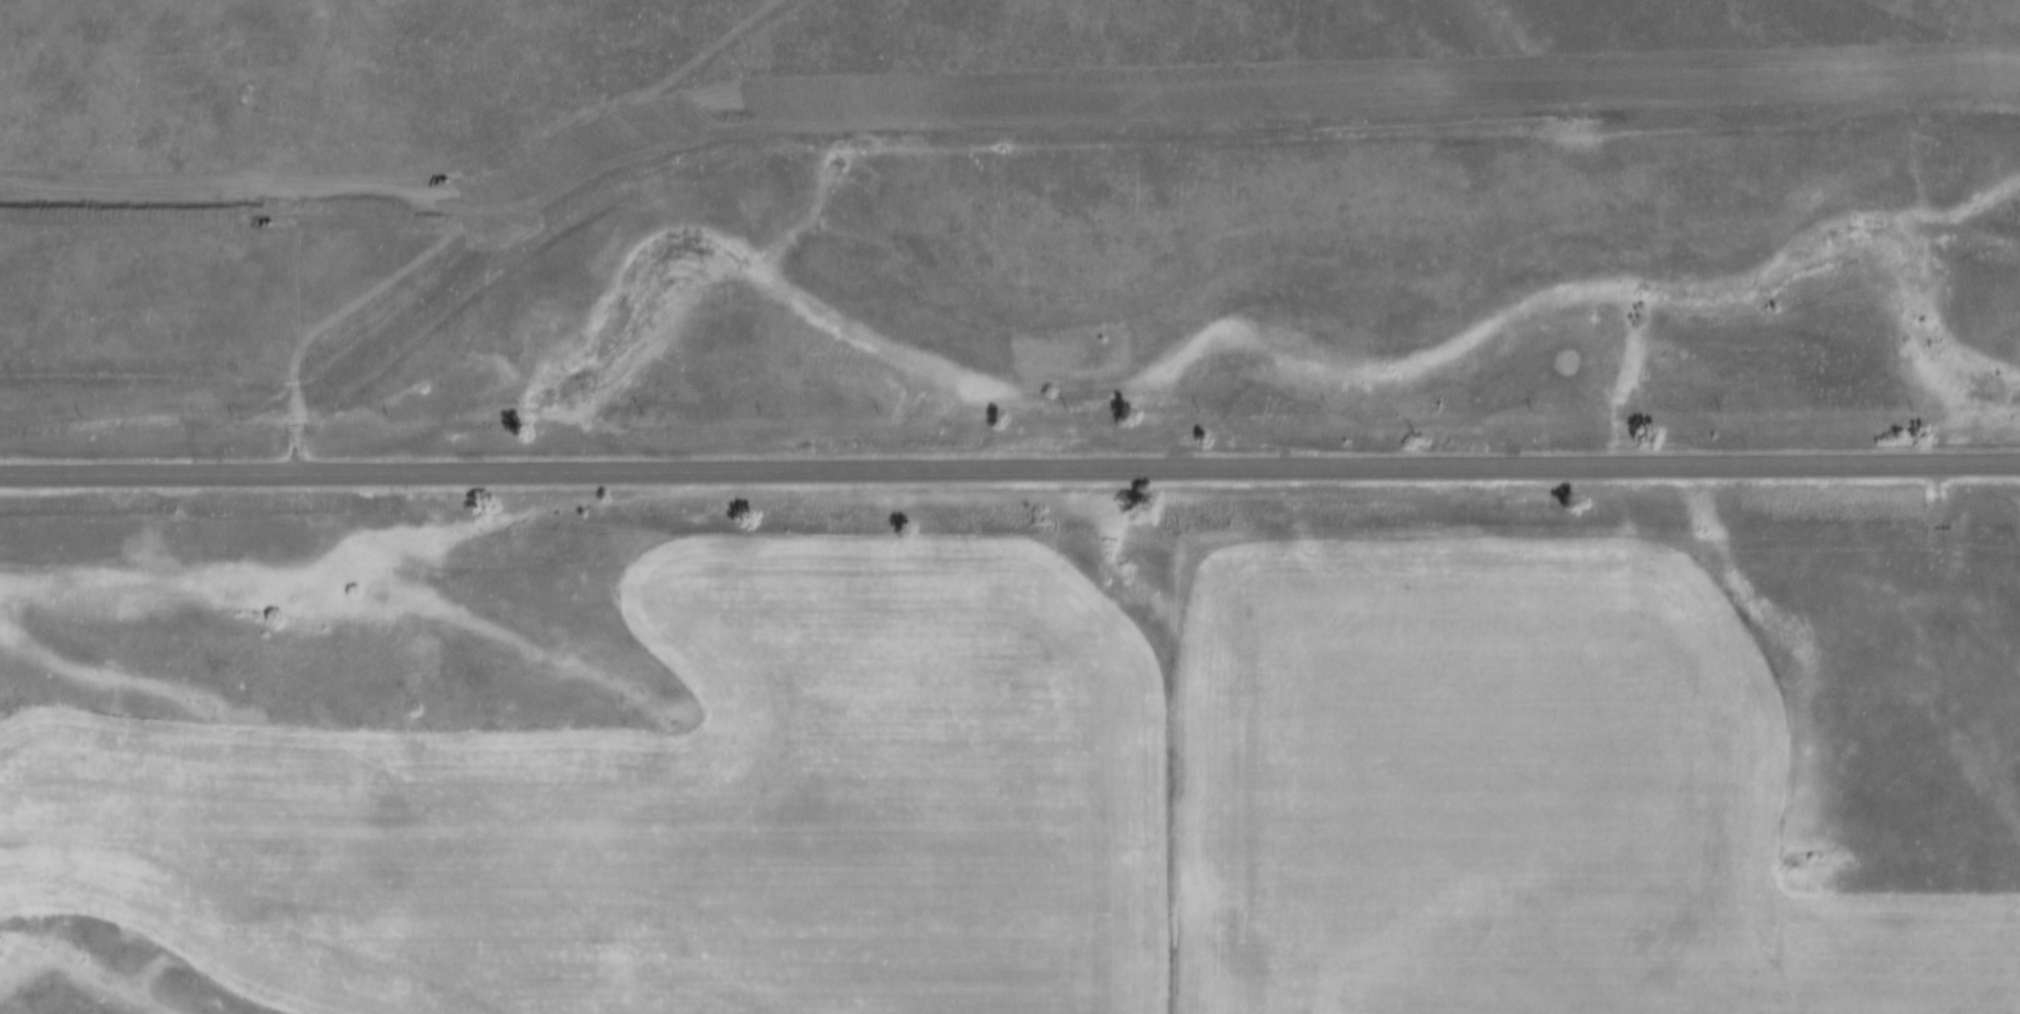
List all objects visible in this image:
road: (296, 233)
road: (1009, 467)

